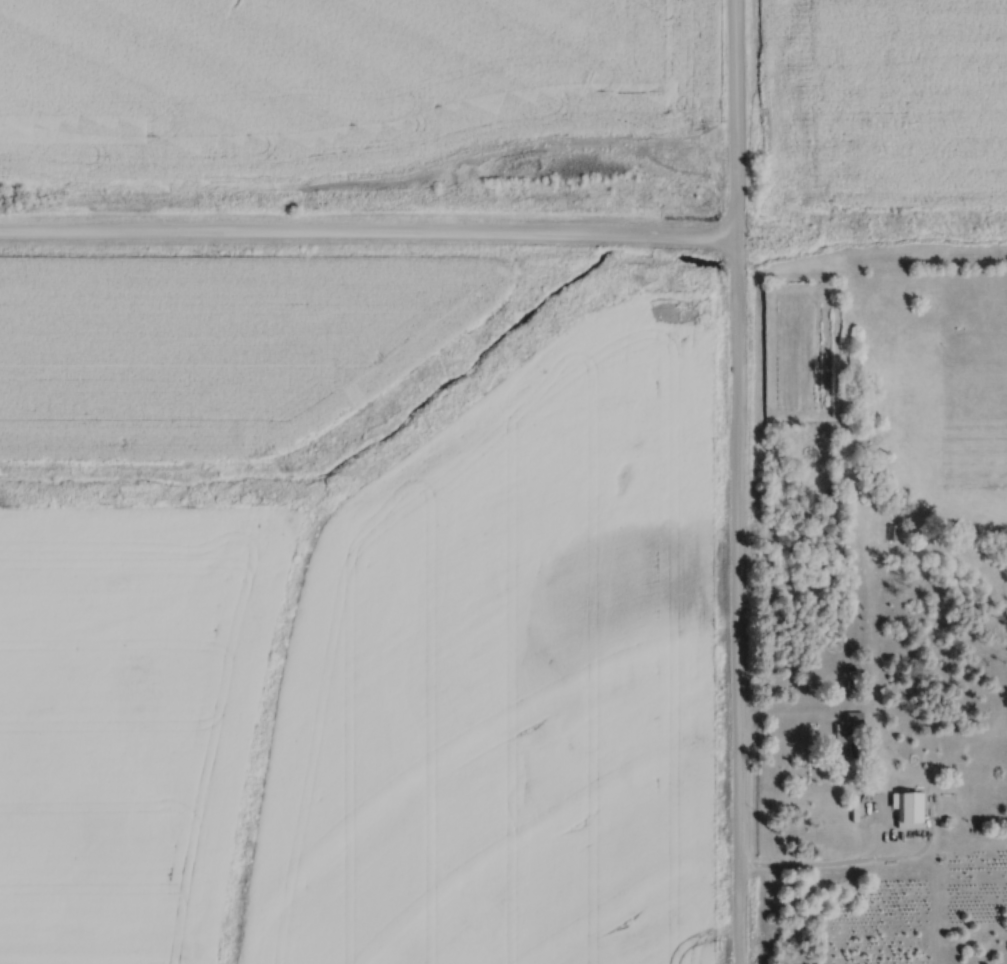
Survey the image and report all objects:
road: (367, 238)
road: (736, 482)
building: (893, 531)
building: (846, 733)
building: (912, 806)
road: (832, 869)

